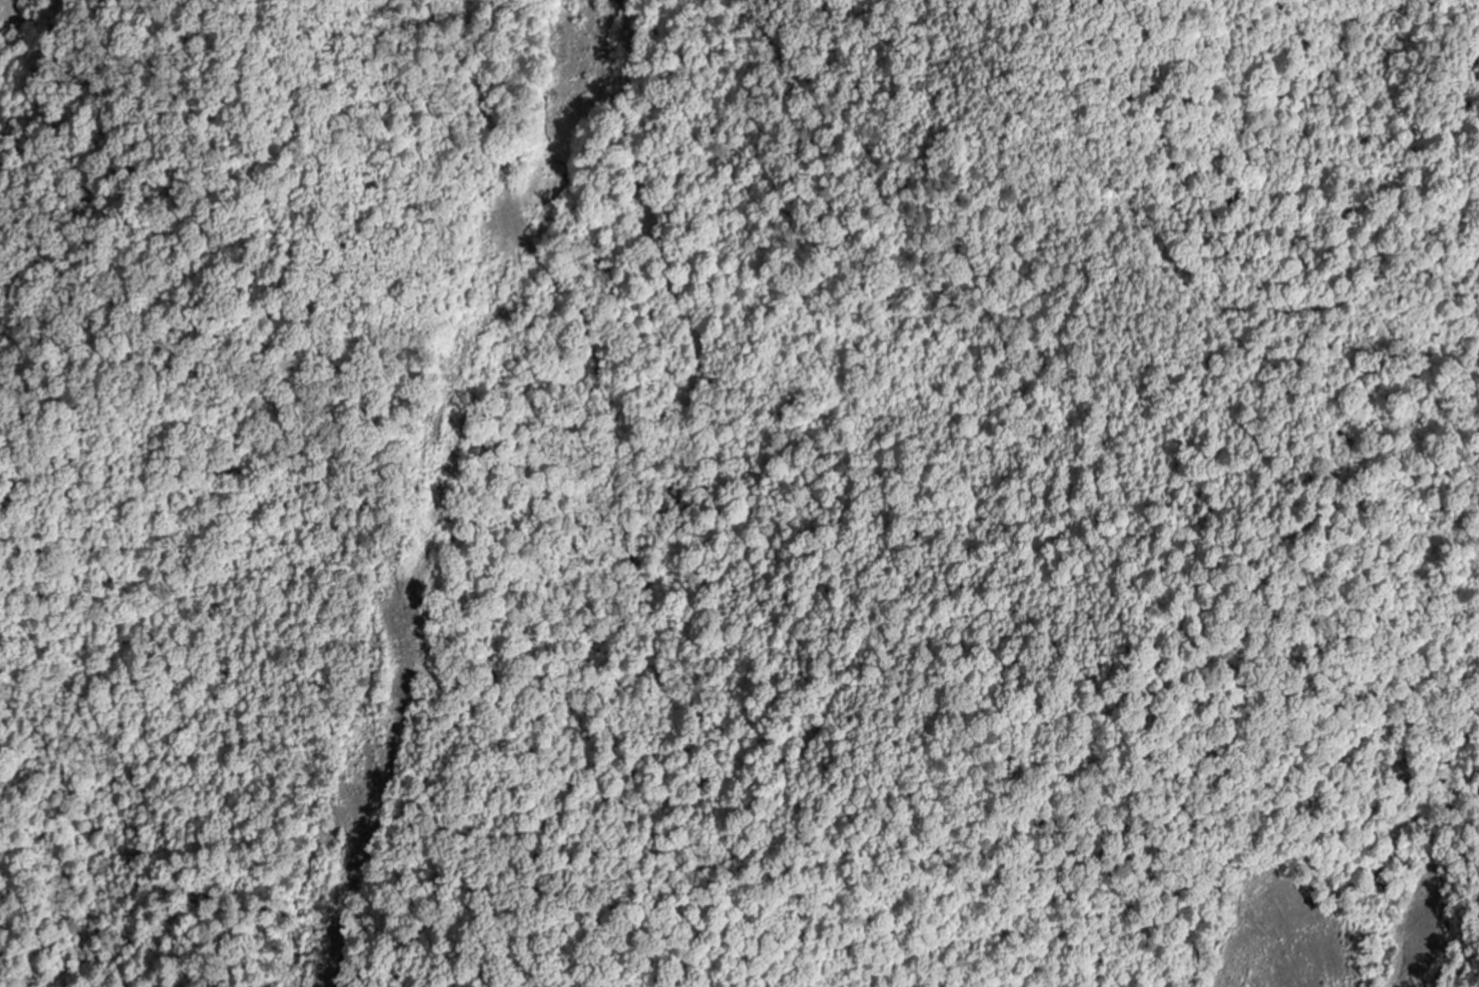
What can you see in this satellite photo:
building: (1390, 951)

